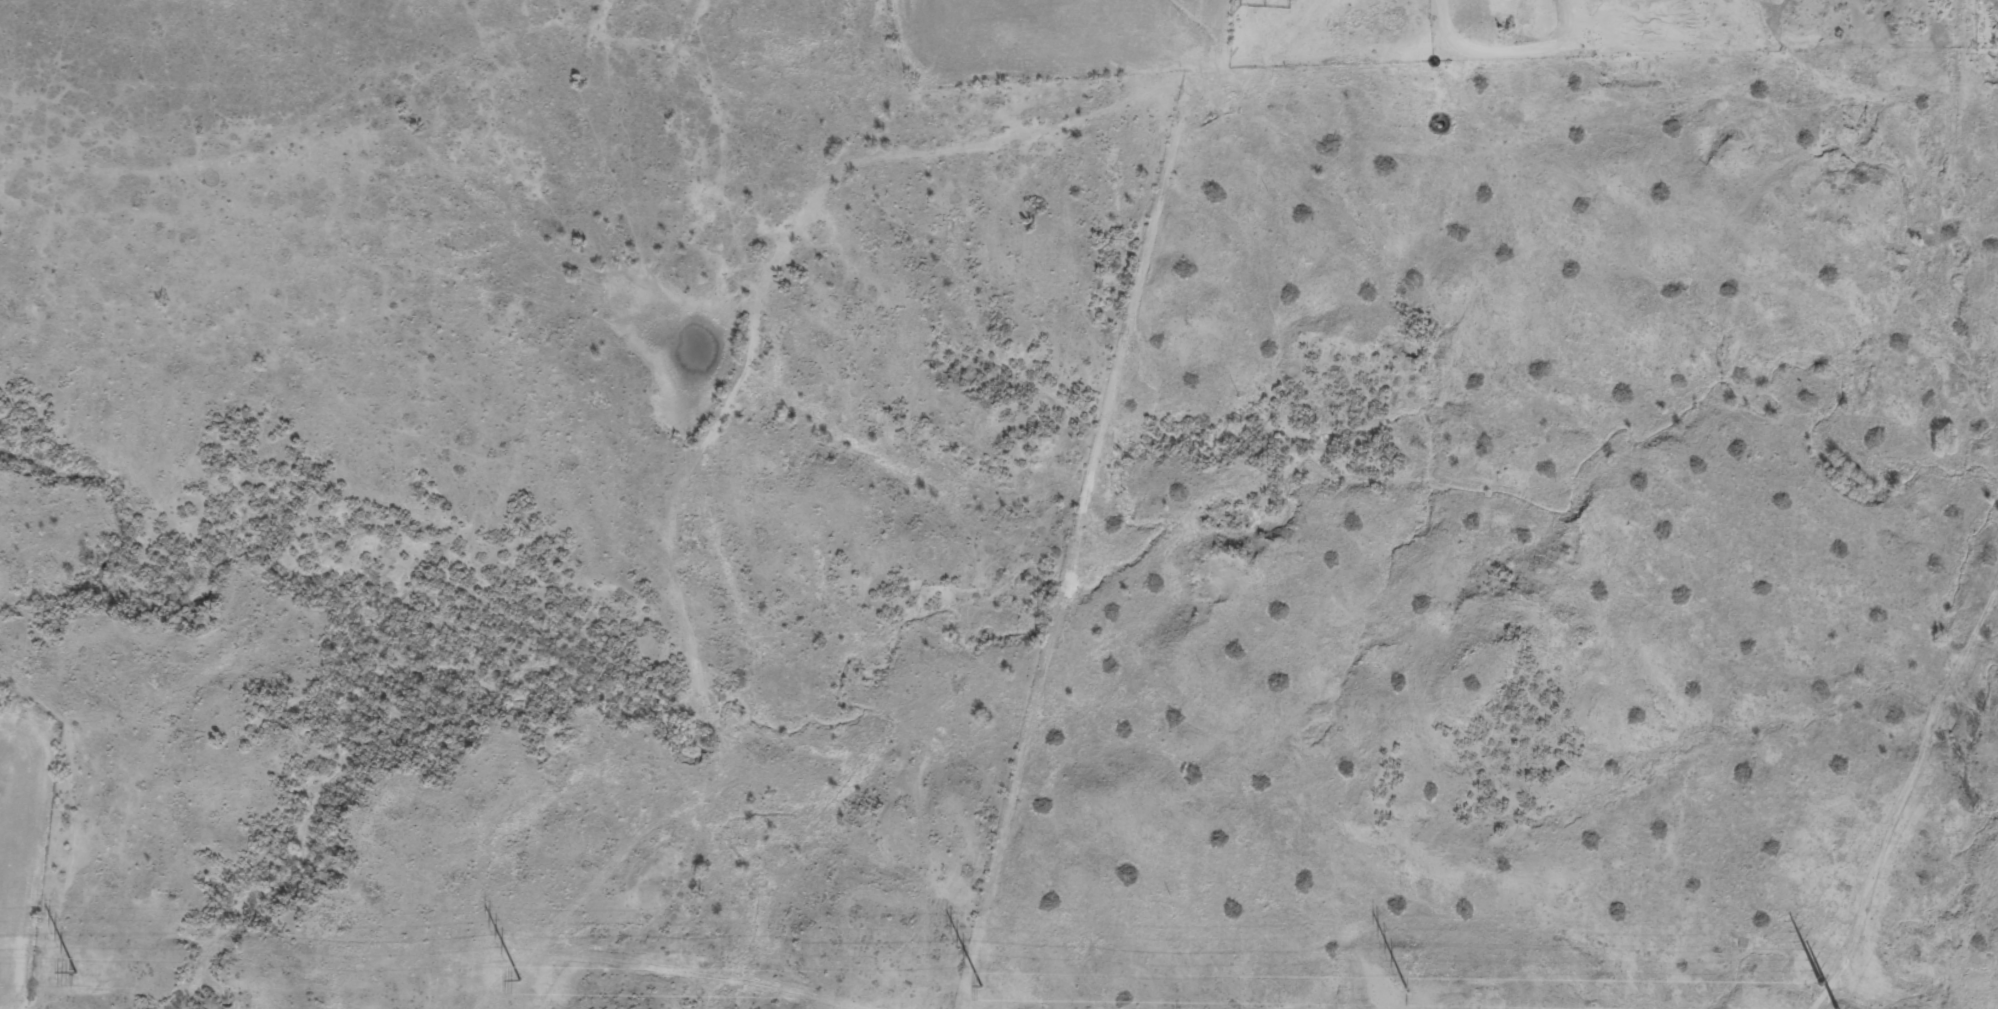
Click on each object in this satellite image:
power tower: (75, 971)
power tower: (518, 978)
power tower: (981, 985)
power tower: (1406, 991)
power tower: (1830, 997)

